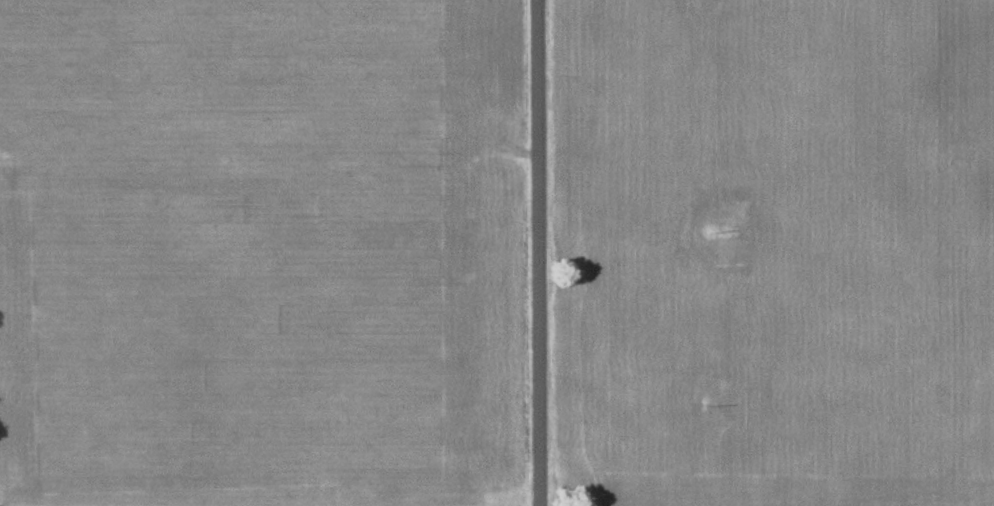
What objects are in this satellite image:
road: (539, 253)

